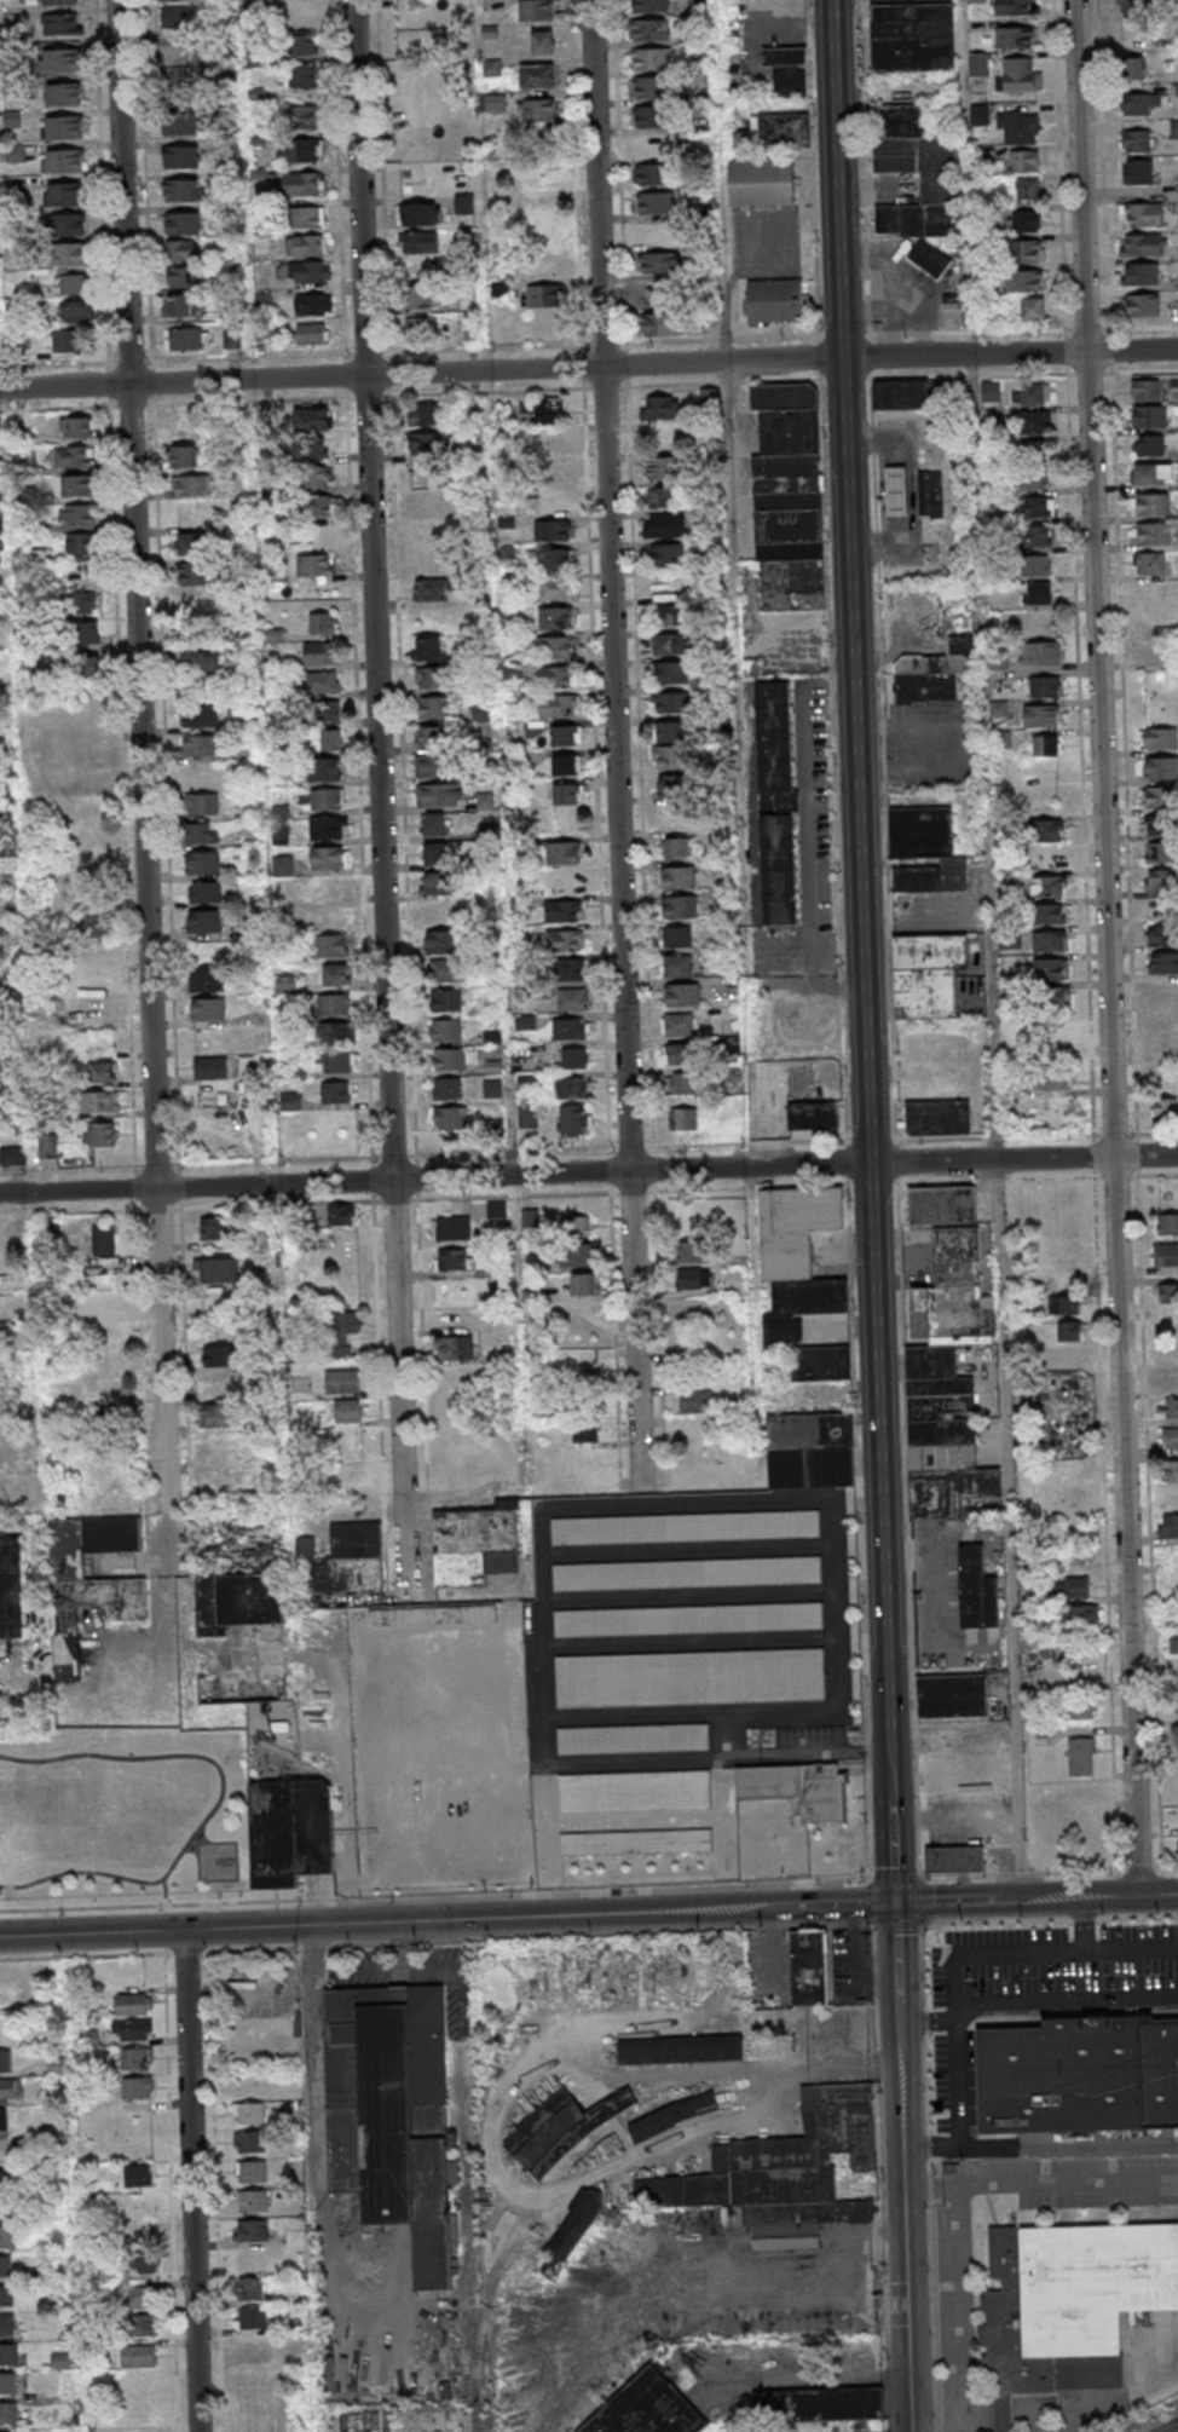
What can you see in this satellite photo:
building: (59, 1)
building: (1131, 5)
building: (651, 6)
building: (1012, 7)
building: (536, 10)
building: (177, 16)
building: (63, 24)
building: (651, 29)
building: (912, 36)
building: (1014, 39)
building: (543, 41)
building: (304, 45)
building: (177, 54)
building: (60, 59)
building: (651, 59)
building: (1132, 67)
building: (787, 70)
building: (977, 70)
building: (537, 75)
building: (1020, 76)
building: (305, 79)
building: (651, 87)
building: (64, 93)
building: (1139, 103)
building: (538, 110)
building: (301, 116)
building: (649, 116)
building: (12, 119)
building: (180, 123)
building: (64, 126)
building: (1018, 127)
building: (1174, 128)
building: (778, 131)
building: (1137, 142)
building: (653, 145)
building: (300, 150)
building: (15, 152)
building: (180, 155)
building: (914, 155)
building: (64, 160)
building: (1024, 160)
building: (1138, 172)
building: (542, 173)
building: (653, 173)
building: (304, 183)
building: (762, 183)
building: (181, 189)
building: (1028, 190)
building: (68, 192)
building: (657, 202)
building: (464, 203)
building: (543, 206)
building: (420, 214)
building: (1143, 214)
building: (308, 217)
building: (1024, 221)
building: (183, 223)
building: (69, 224)
building: (544, 236)
building: (420, 241)
building: (1141, 244)
building: (306, 246)
building: (181, 249)
building: (1027, 252)
building: (69, 253)
building: (929, 258)
building: (663, 261)
building: (441, 266)
building: (543, 266)
building: (312, 271)
building: (1141, 273)
building: (183, 277)
building: (1026, 281)
building: (73, 283)
building: (500, 290)
building: (653, 292)
building: (544, 295)
building: (418, 296)
building: (775, 300)
building: (313, 304)
building: (179, 305)
building: (1142, 305)
building: (79, 310)
building: (1033, 310)
building: (659, 323)
building: (421, 328)
building: (472, 332)
building: (310, 333)
building: (187, 338)
building: (231, 339)
building: (68, 341)
road: (588, 368)
building: (991, 391)
building: (1147, 391)
building: (901, 394)
building: (1029, 394)
building: (709, 398)
building: (662, 407)
building: (545, 410)
building: (426, 414)
building: (1149, 416)
building: (312, 419)
building: (1034, 422)
building: (76, 427)
building: (549, 443)
building: (427, 444)
building: (1150, 446)
building: (313, 450)
road: (731, 451)
building: (1033, 451)
building: (74, 456)
building: (183, 456)
building: (660, 467)
building: (554, 472)
building: (1153, 473)
building: (313, 478)
building: (1030, 480)
building: (77, 485)
building: (191, 485)
road: (883, 490)
building: (900, 492)
building: (934, 494)
building: (662, 496)
building: (789, 497)
building: (554, 502)
building: (1150, 503)
building: (314, 507)
building: (1034, 508)
building: (77, 514)
building: (665, 525)
building: (553, 531)
building: (1150, 532)
building: (1035, 536)
building: (81, 543)
building: (190, 543)
building: (668, 555)
building: (554, 560)
building: (426, 561)
building: (1150, 563)
building: (314, 565)
building: (1036, 565)
building: (196, 574)
road: (1098, 577)
road: (980, 580)
building: (432, 589)
building: (553, 589)
building: (1151, 592)
building: (1039, 593)
building: (80, 601)
building: (198, 604)
building: (669, 613)
building: (556, 618)
building: (322, 623)
building: (85, 633)
building: (669, 644)
building: (558, 647)
building: (427, 649)
building: (1041, 652)
building: (321, 653)
building: (201, 661)
building: (998, 662)
building: (87, 667)
building: (671, 672)
building: (937, 674)
building: (556, 676)
building: (429, 679)
building: (319, 682)
building: (1044, 686)
building: (671, 702)
building: (559, 705)
building: (434, 708)
building: (328, 713)
building: (198, 715)
building: (1040, 715)
building: (669, 732)
building: (566, 734)
building: (432, 738)
building: (1159, 739)
building: (330, 740)
road: (619, 743)
building: (1046, 744)
building: (200, 745)
road: (144, 757)
building: (668, 757)
building: (566, 765)
building: (433, 767)
building: (1161, 768)
building: (324, 770)
building: (201, 776)
building: (675, 788)
building: (439, 795)
building: (565, 795)
building: (1160, 797)
building: (328, 799)
road: (382, 799)
building: (484, 801)
building: (778, 802)
building: (201, 803)
building: (434, 824)
building: (1159, 825)
building: (329, 828)
building: (1049, 830)
building: (198, 832)
building: (680, 847)
building: (926, 851)
building: (435, 853)
building: (564, 853)
building: (1159, 853)
building: (1046, 858)
building: (329, 859)
building: (203, 863)
building: (283, 866)
building: (680, 878)
building: (1162, 880)
building: (564, 882)
building: (438, 883)
building: (1049, 886)
building: (330, 889)
building: (206, 892)
building: (678, 907)
building: (564, 911)
building: (435, 912)
building: (1049, 914)
building: (204, 922)
building: (94, 927)
building: (1161, 934)
building: (677, 938)
building: (564, 940)
building: (1050, 940)
building: (441, 941)
building: (330, 946)
building: (1162, 962)
building: (677, 967)
building: (1050, 968)
building: (446, 970)
building: (572, 970)
building: (928, 974)
building: (335, 975)
building: (208, 979)
building: (682, 996)
building: (1051, 997)
building: (571, 999)
building: (445, 1001)
building: (333, 1005)
building: (210, 1008)
building: (97, 1013)
building: (677, 1026)
building: (571, 1028)
building: (446, 1031)
building: (1052, 1033)
building: (336, 1035)
building: (1165, 1045)
building: (680, 1054)
building: (574, 1057)
building: (450, 1060)
building: (336, 1062)
building: (210, 1067)
building: (102, 1071)
building: (732, 1077)
building: (1052, 1079)
building: (686, 1084)
building: (489, 1088)
building: (572, 1088)
building: (446, 1090)
building: (336, 1093)
building: (100, 1101)
building: (290, 1101)
building: (1165, 1108)
building: (813, 1116)
building: (939, 1118)
building: (450, 1119)
building: (572, 1119)
building: (682, 1120)
building: (99, 1134)
building: (47, 1146)
building: (12, 1156)
road: (1145, 1156)
road: (556, 1174)
building: (942, 1204)
building: (723, 1208)
building: (497, 1210)
building: (339, 1215)
road: (870, 1215)
road: (847, 1216)
building: (1167, 1223)
building: (577, 1226)
building: (213, 1227)
building: (452, 1227)
building: (103, 1240)
building: (692, 1251)
building: (577, 1256)
building: (1166, 1256)
building: (454, 1260)
building: (219, 1270)
building: (693, 1278)
building: (803, 1279)
building: (584, 1285)
building: (1167, 1295)
building: (102, 1302)
building: (1064, 1306)
building: (1068, 1332)
building: (342, 1333)
building: (455, 1349)
building: (221, 1355)
building: (1069, 1358)
building: (342, 1382)
building: (947, 1383)
building: (220, 1385)
building: (108, 1390)
building: (695, 1402)
building: (1171, 1408)
building: (347, 1412)
building: (219, 1414)
building: (585, 1433)
building: (1171, 1437)
building: (230, 1446)
building: (810, 1450)
building: (1171, 1470)
building: (1070, 1504)
road: (571, 1505)
road: (1126, 1526)
building: (1168, 1526)
building: (686, 1527)
road: (1011, 1529)
building: (474, 1545)
building: (350, 1560)
building: (687, 1573)
building: (89, 1583)
building: (11, 1587)
building: (1074, 1587)
building: (976, 1590)
building: (238, 1601)
building: (1081, 1616)
building: (688, 1619)
building: (1174, 1643)
building: (689, 1677)
building: (1176, 1689)
building: (952, 1696)
building: (1082, 1711)
building: (1176, 1736)
building: (633, 1739)
building: (1082, 1756)
building: (798, 1788)
building: (635, 1791)
road: (218, 1803)
park: (126, 1814)
building: (290, 1832)
building: (636, 1842)
building: (955, 1860)
park: (216, 1861)
road: (164, 1891)
road: (1157, 1895)
road: (1111, 1897)
road: (318, 1900)
road: (988, 1900)
traffic signals: (894, 1903)
road: (538, 1915)
road: (1086, 1924)
road: (91, 1932)
road: (166, 1941)
road: (1133, 1948)
building: (813, 1969)
road: (954, 1987)
road: (1066, 1999)
building: (133, 2002)
building: (244, 2009)
road: (926, 2022)
building: (132, 2029)
building: (683, 2052)
building: (135, 2058)
building: (5, 2061)
building: (57, 2064)
building: (1081, 2079)
building: (137, 2087)
building: (11, 2088)
building: (697, 2110)
building: (249, 2113)
building: (393, 2117)
building: (4, 2123)
building: (654, 2128)
building: (564, 2132)
building: (250, 2140)
road: (1039, 2148)
building: (779, 2161)
building: (252, 2171)
building: (138, 2175)
road: (190, 2180)
building: (7, 2182)
road: (1039, 2183)
building: (253, 2200)
building: (801, 2224)
building: (252, 2230)
building: (576, 2232)
building: (8, 2236)
railway: (501, 2260)
building: (144, 2263)
building: (6, 2265)
building: (249, 2288)
building: (5, 2295)
building: (1072, 2307)
road: (962, 2309)
building: (253, 2317)
building: (7, 2324)
building: (142, 2324)
building: (254, 2351)
building: (8, 2355)
building: (137, 2356)
building: (7, 2384)
road: (1111, 2407)
building: (652, 2409)
building: (816, 2409)
building: (7, 2413)
building: (866, 2426)
building: (830, 2427)
railway: (1177, 2431)

